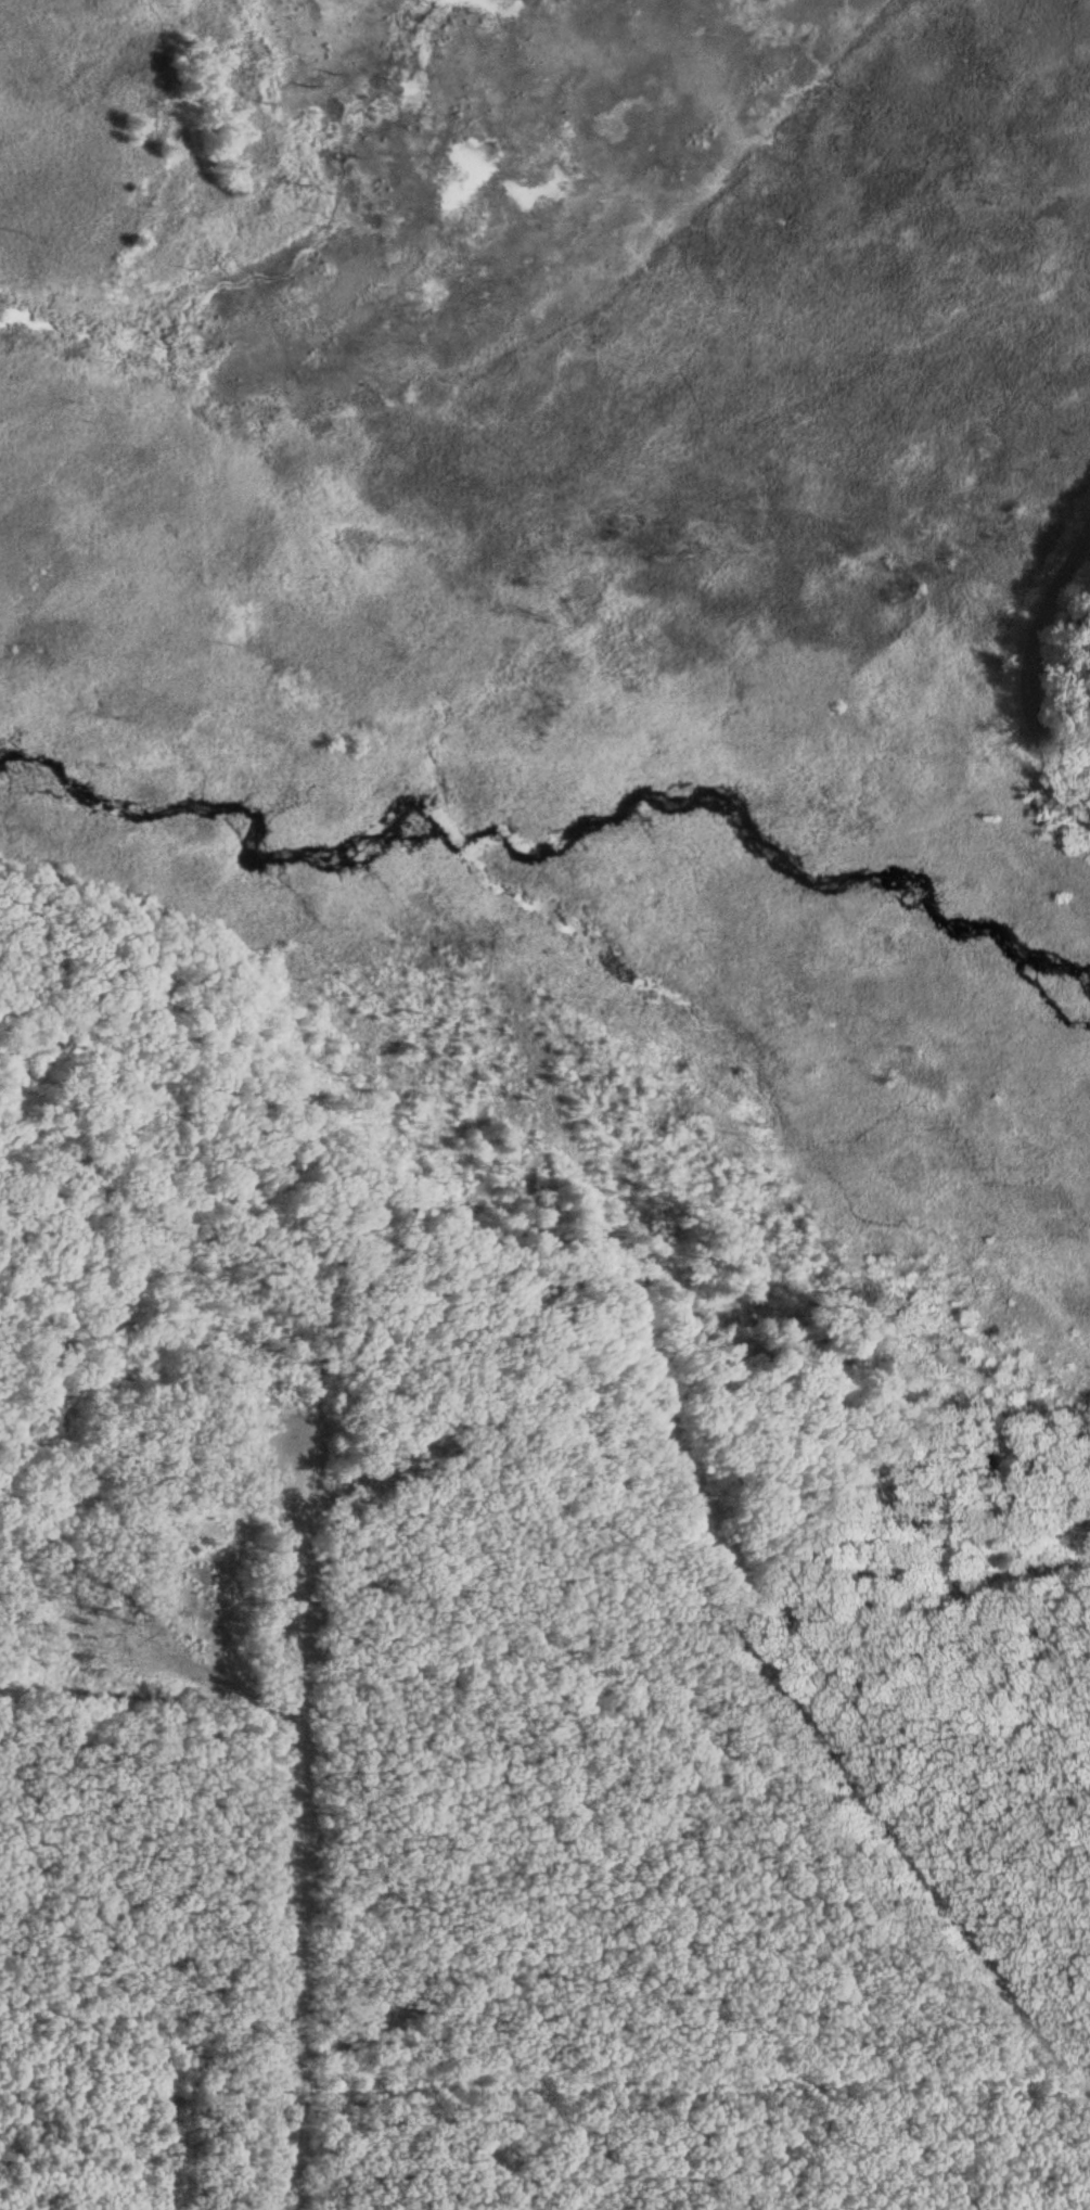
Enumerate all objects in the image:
road: (1043, 648)
road: (286, 1717)
road: (687, 2062)
road: (283, 2132)

